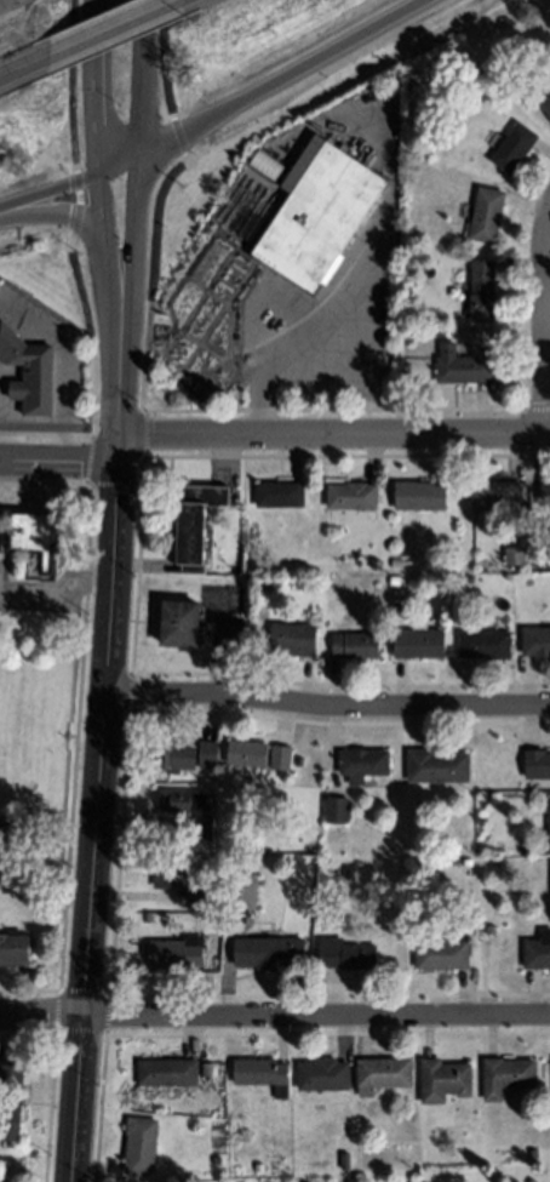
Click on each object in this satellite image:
road: (5, 2)
road: (118, 33)
road: (23, 76)
road: (143, 76)
road: (276, 78)
road: (93, 87)
building: (546, 105)
building: (515, 148)
road: (118, 165)
building: (268, 165)
road: (76, 173)
road: (47, 194)
road: (159, 198)
building: (316, 213)
building: (487, 215)
road: (79, 225)
road: (127, 276)
road: (108, 286)
building: (482, 291)
building: (417, 310)
road: (544, 325)
building: (443, 332)
building: (464, 365)
road: (63, 369)
building: (28, 371)
road: (91, 389)
road: (537, 409)
road: (331, 410)
road: (332, 434)
road: (4, 439)
road: (58, 462)
building: (497, 493)
building: (544, 493)
building: (280, 495)
building: (351, 496)
building: (420, 496)
building: (195, 525)
building: (36, 542)
building: (514, 555)
building: (543, 561)
building: (376, 566)
building: (394, 578)
building: (265, 584)
building: (179, 622)
building: (293, 639)
building: (418, 641)
building: (535, 641)
building: (485, 645)
building: (356, 646)
road: (327, 707)
building: (247, 753)
building: (208, 754)
park: (38, 755)
building: (173, 755)
building: (280, 758)
building: (362, 764)
building: (537, 764)
building: (437, 766)
road: (97, 790)
road: (124, 795)
building: (184, 801)
road: (71, 806)
building: (338, 810)
building: (549, 821)
building: (204, 828)
building: (353, 850)
building: (170, 873)
building: (349, 873)
building: (242, 889)
building: (204, 895)
building: (216, 919)
building: (15, 948)
building: (537, 952)
building: (269, 953)
building: (442, 954)
building: (174, 955)
building: (346, 955)
road: (316, 1015)
road: (41, 1016)
building: (206, 1069)
building: (168, 1073)
building: (262, 1074)
building: (383, 1074)
building: (323, 1075)
building: (508, 1077)
building: (445, 1080)
building: (11, 1102)
building: (142, 1146)
building: (533, 1153)
building: (217, 1160)
building: (345, 1161)
building: (259, 1167)
building: (531, 1180)

